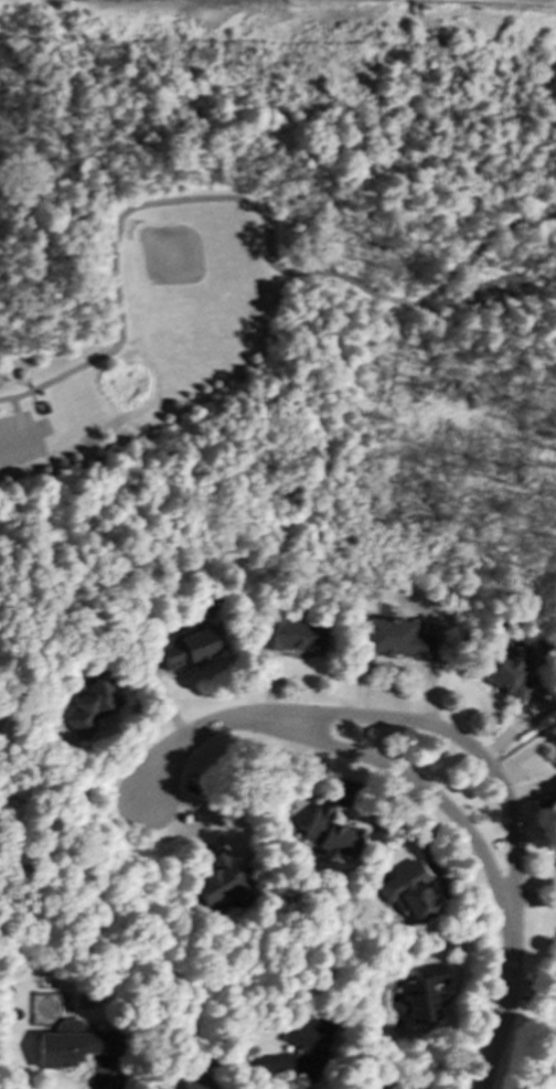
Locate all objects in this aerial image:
road: (248, 202)
park: (191, 280)
park: (277, 291)
road: (28, 385)
road: (32, 399)
building: (43, 407)
road: (18, 417)
road: (21, 437)
parking lot: (22, 438)
building: (288, 634)
building: (397, 638)
building: (183, 645)
building: (503, 676)
building: (88, 705)
road: (197, 734)
road: (460, 743)
road: (520, 743)
road: (419, 787)
building: (330, 834)
building: (217, 880)
building: (407, 893)
building: (421, 994)
road: (507, 1004)
building: (68, 1045)
building: (293, 1054)
road: (109, 1079)
building: (193, 1082)
road: (238, 1082)
building: (383, 1086)

